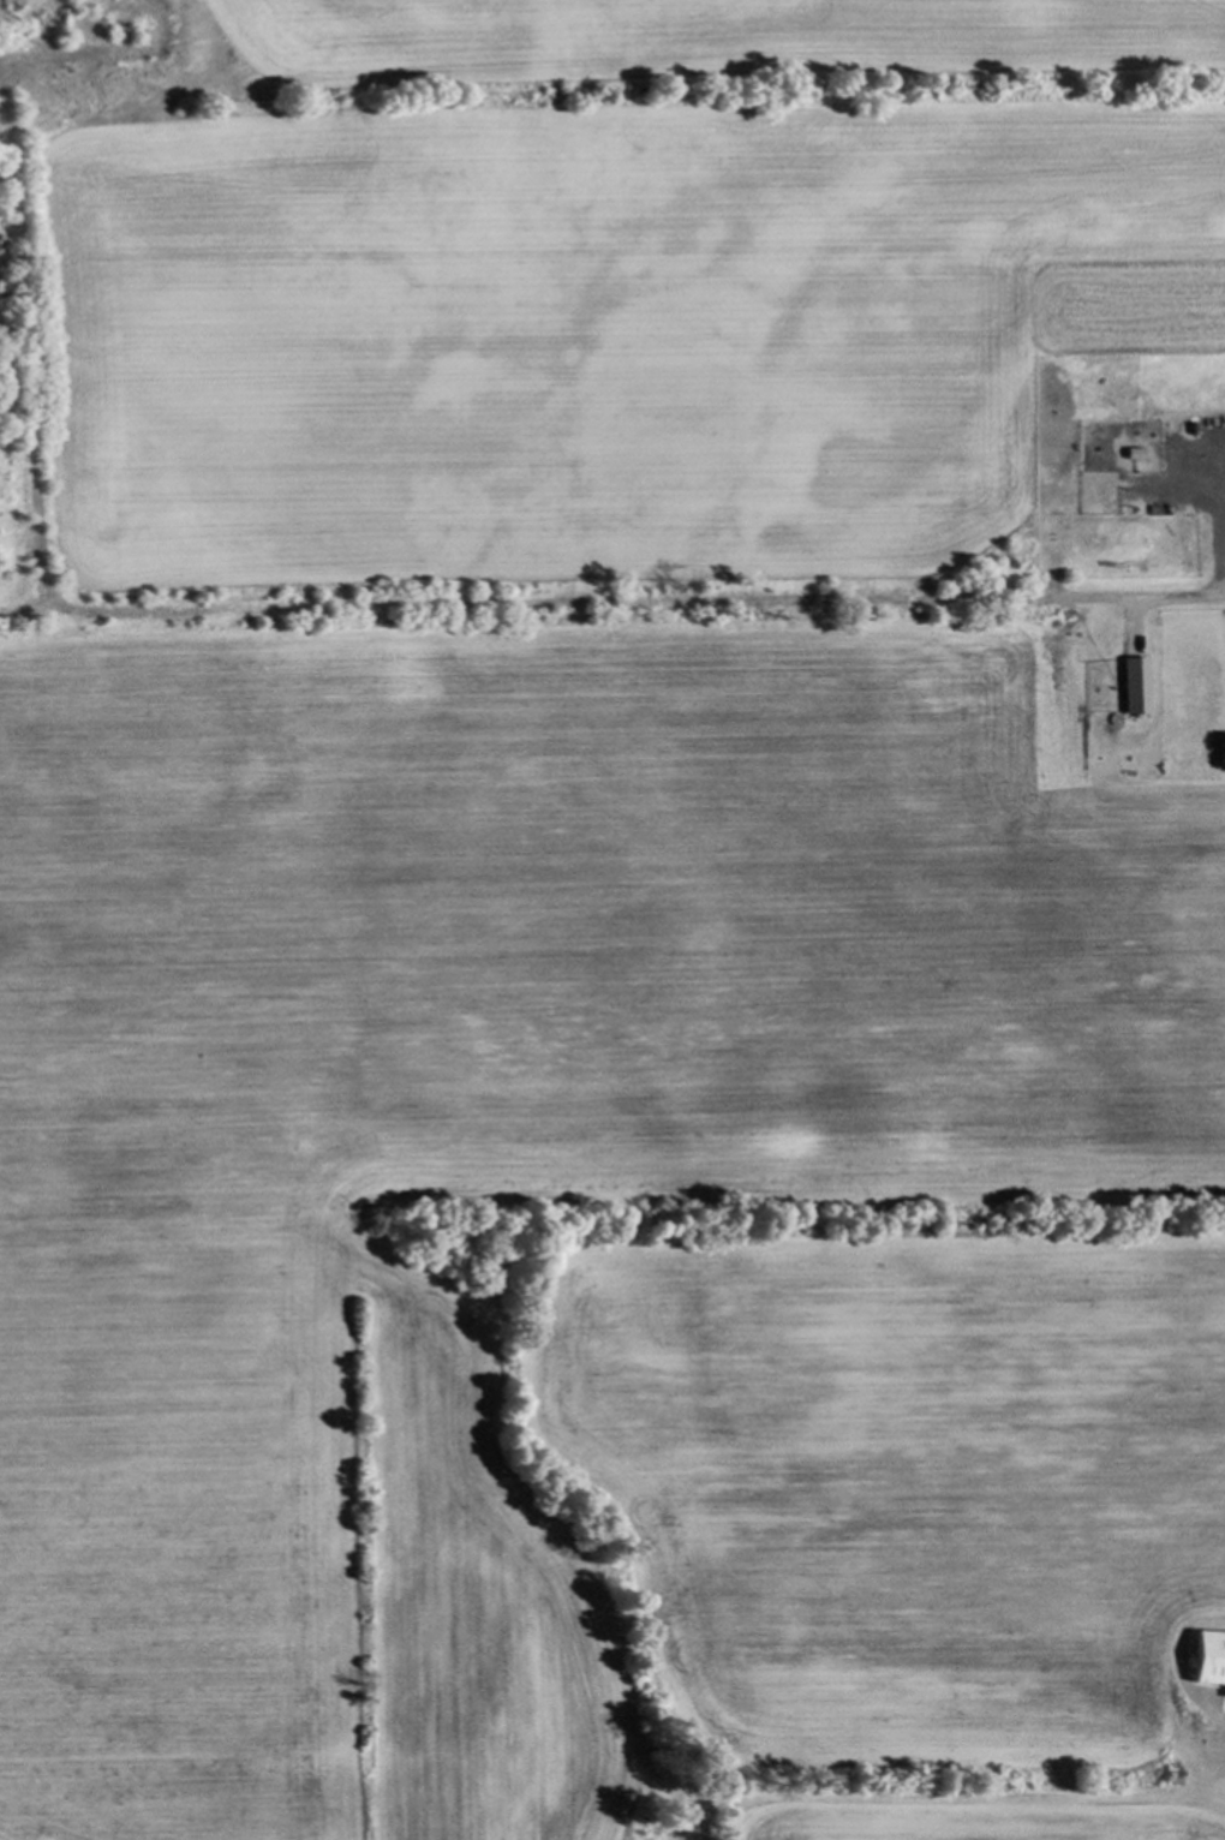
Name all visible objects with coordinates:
road: (1224, 539)
building: (1139, 687)
building: (1208, 1660)

